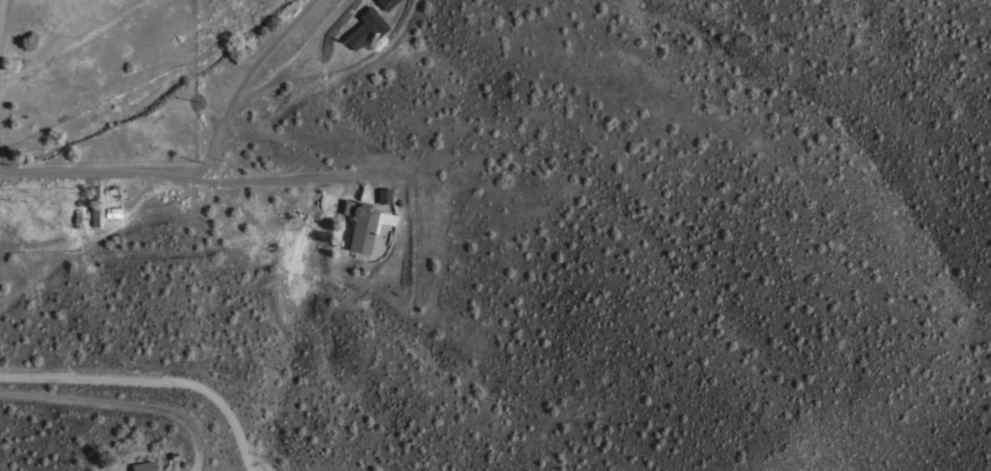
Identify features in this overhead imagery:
building: (386, 3)
building: (365, 27)
road: (204, 167)
road: (280, 179)
building: (384, 196)
building: (364, 224)
road: (157, 374)
road: (127, 397)
building: (141, 462)
building: (90, 470)

